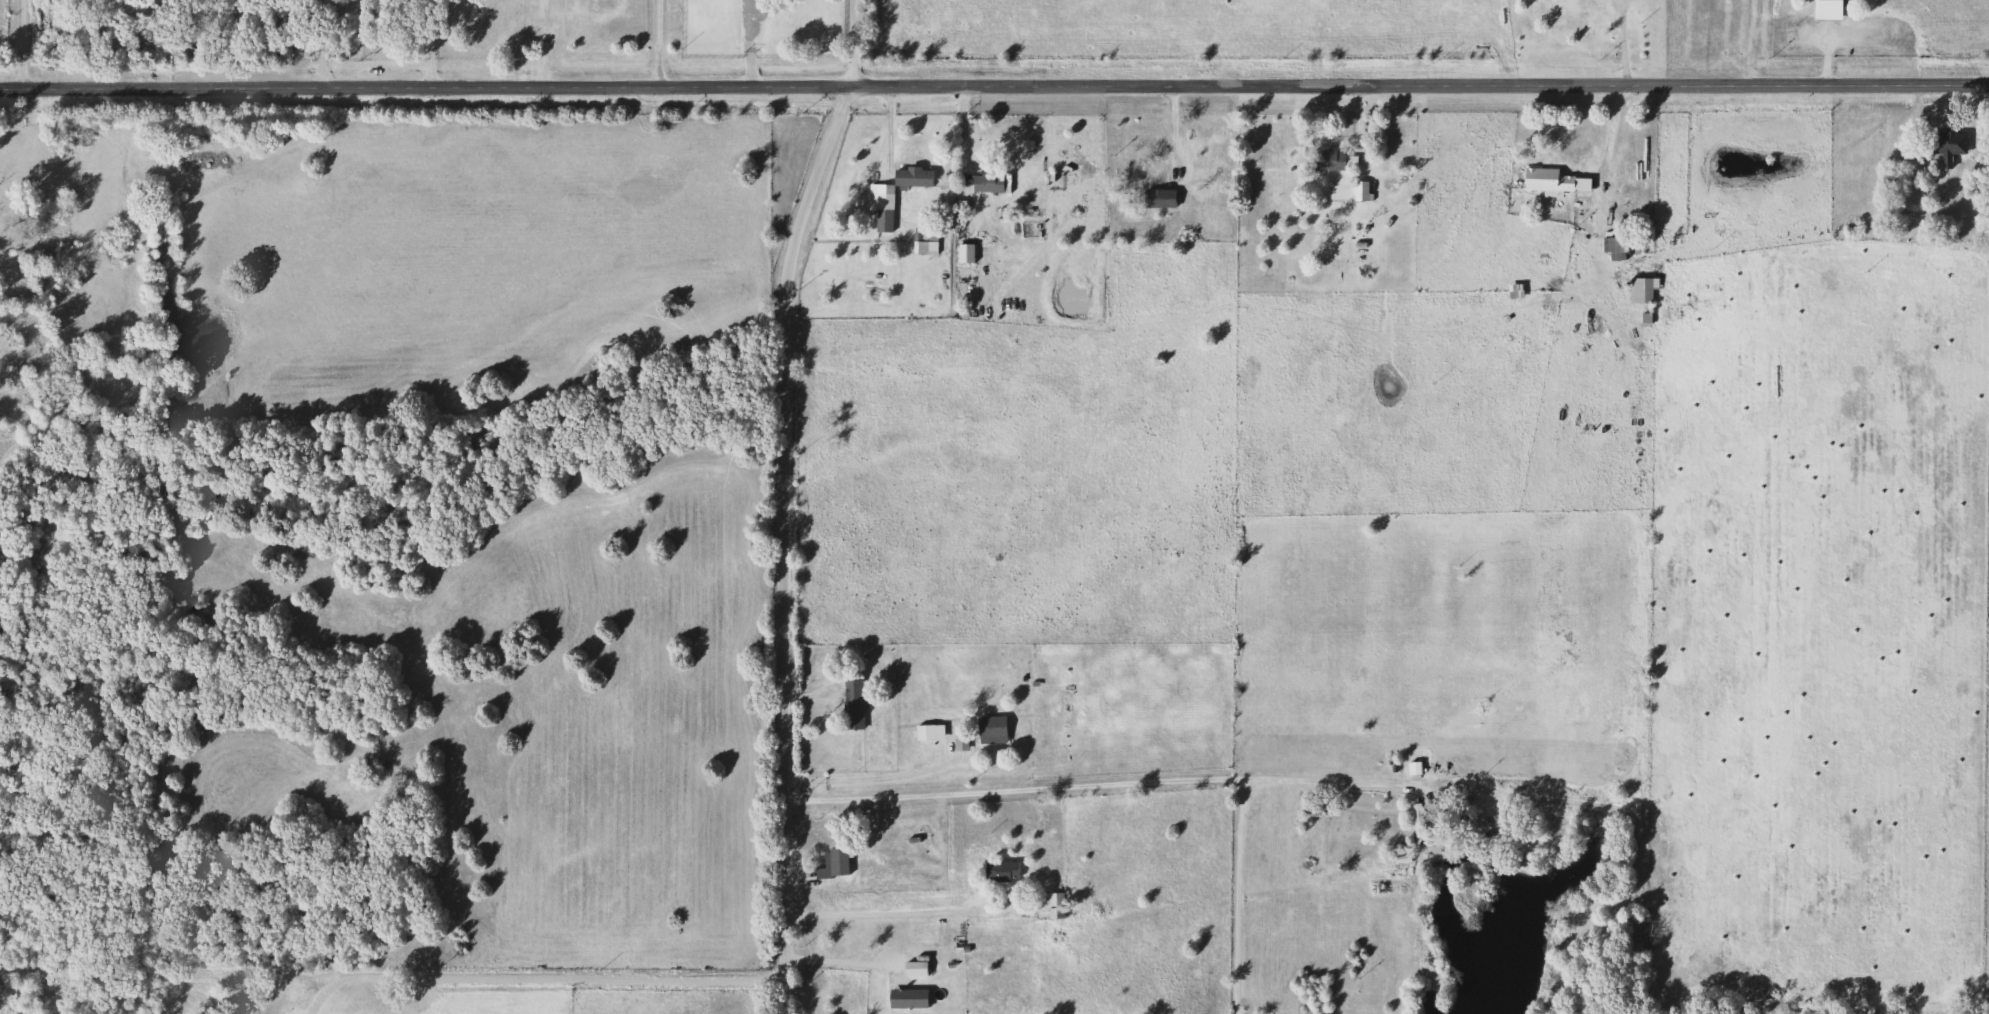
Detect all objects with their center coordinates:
building: (1829, 6)
road: (431, 39)
road: (658, 39)
road: (747, 39)
road: (849, 39)
road: (1622, 39)
road: (323, 40)
road: (26, 41)
road: (994, 77)
building: (1944, 145)
building: (1329, 158)
road: (1602, 172)
building: (910, 176)
building: (1549, 180)
building: (985, 182)
building: (1358, 190)
building: (1155, 196)
building: (880, 211)
building: (1610, 247)
building: (962, 253)
building: (1637, 289)
building: (1512, 291)
road: (786, 541)
building: (850, 703)
building: (988, 728)
building: (921, 731)
road: (872, 779)
road: (1257, 780)
building: (1414, 821)
building: (919, 836)
building: (831, 862)
building: (998, 870)
road: (1239, 897)
building: (1052, 904)
road: (884, 915)
road: (836, 960)
road: (606, 968)
building: (911, 968)
building: (903, 997)

